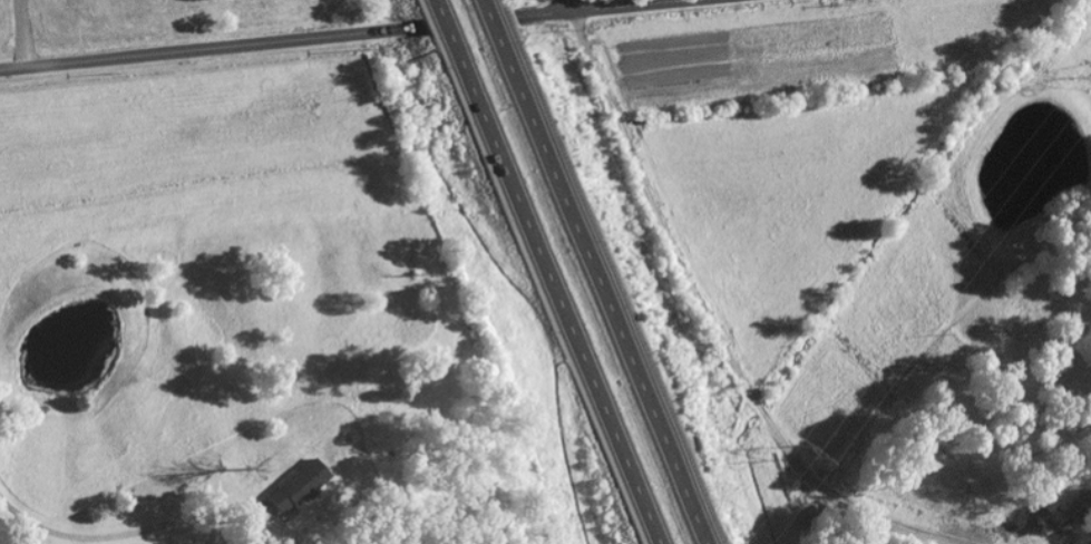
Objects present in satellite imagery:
road: (572, 7)
road: (351, 36)
road: (501, 45)
road: (448, 46)
power tower: (1089, 78)
road: (614, 317)
road: (561, 318)
power tower: (819, 448)
building: (295, 487)

